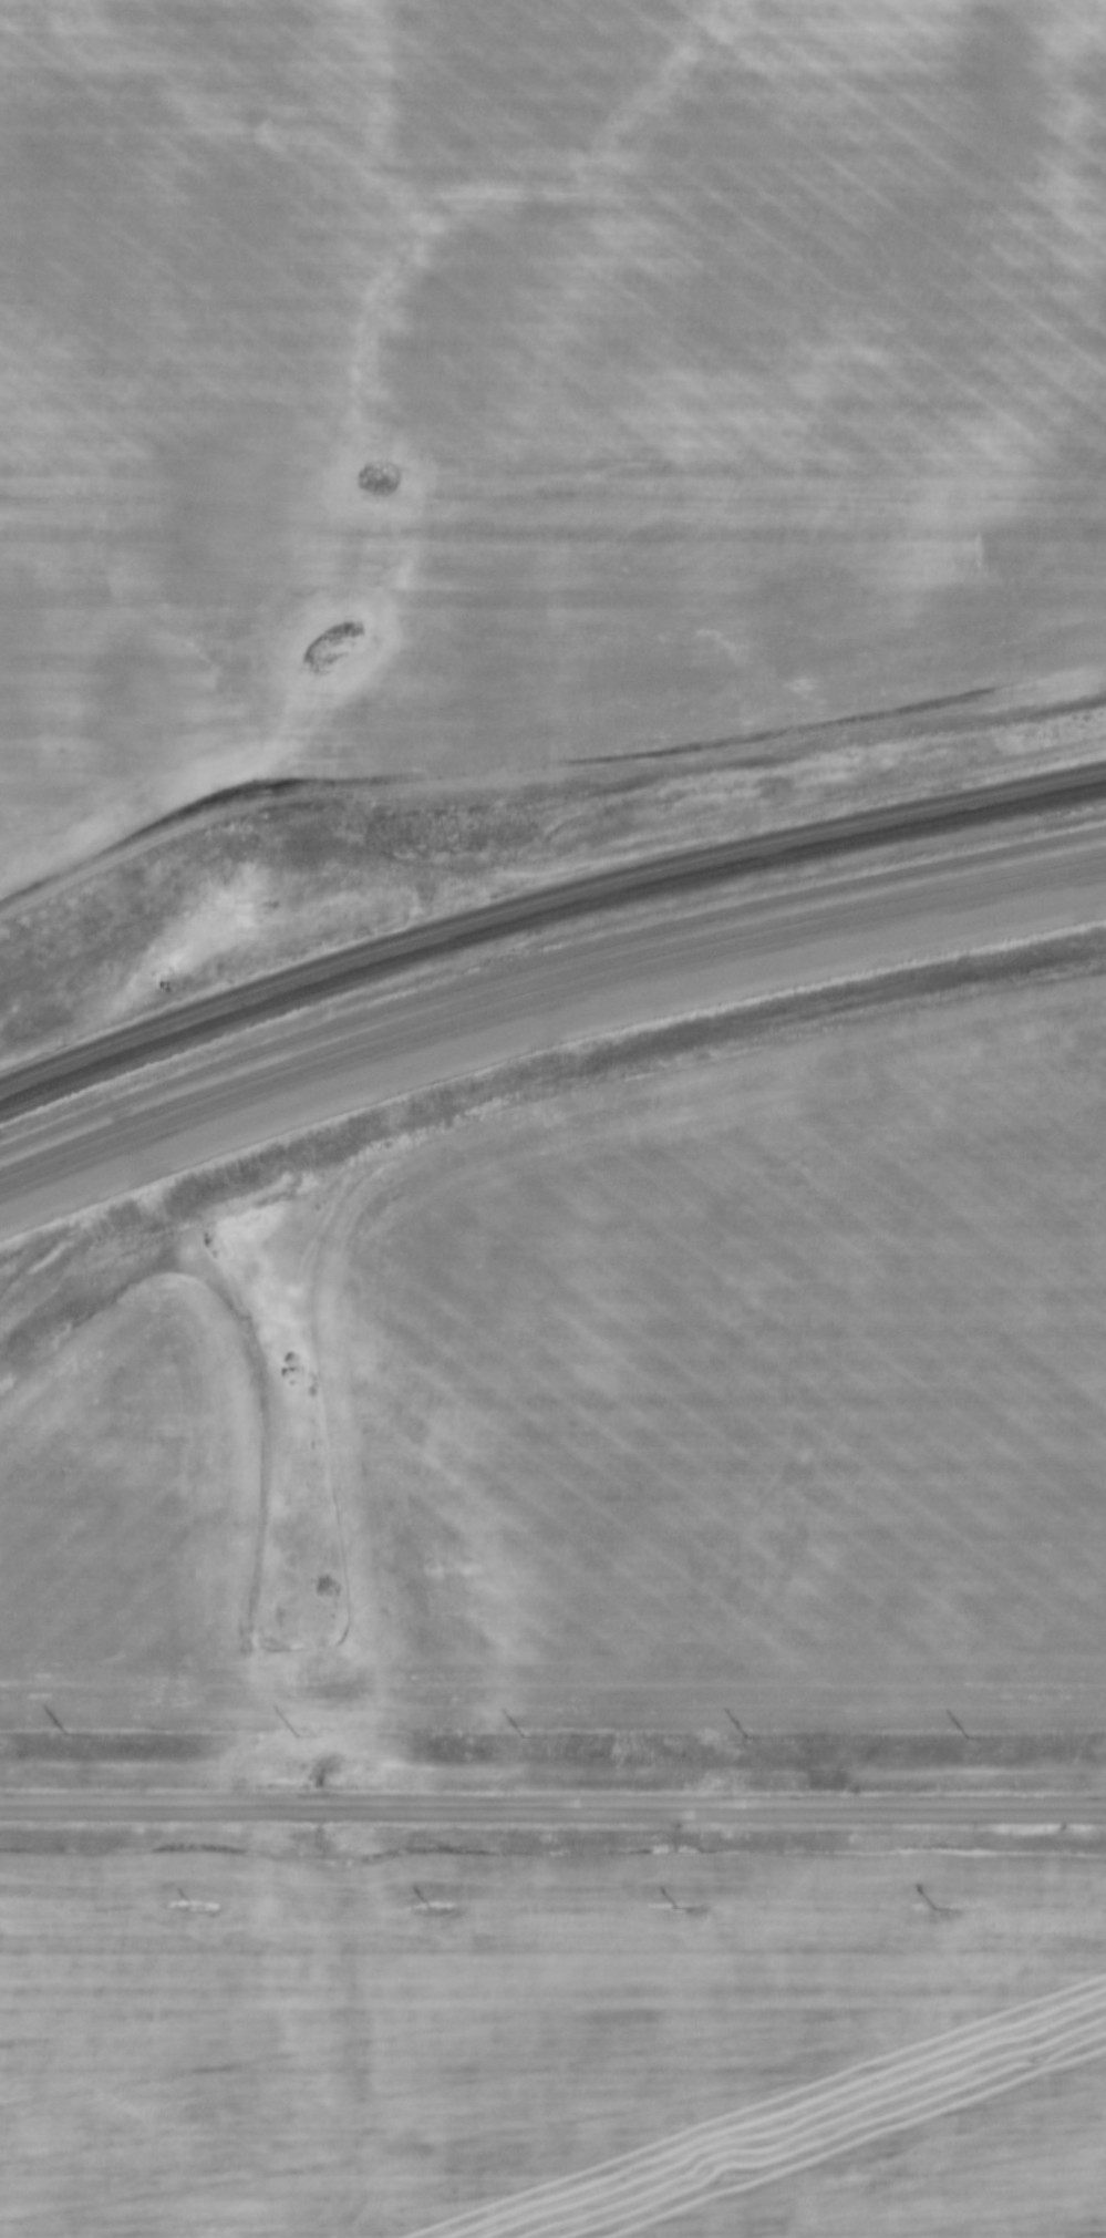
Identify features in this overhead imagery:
railway: (544, 895)
railway: (544, 916)
railway: (544, 961)
railway: (544, 980)
railway: (545, 999)
road: (552, 1807)

